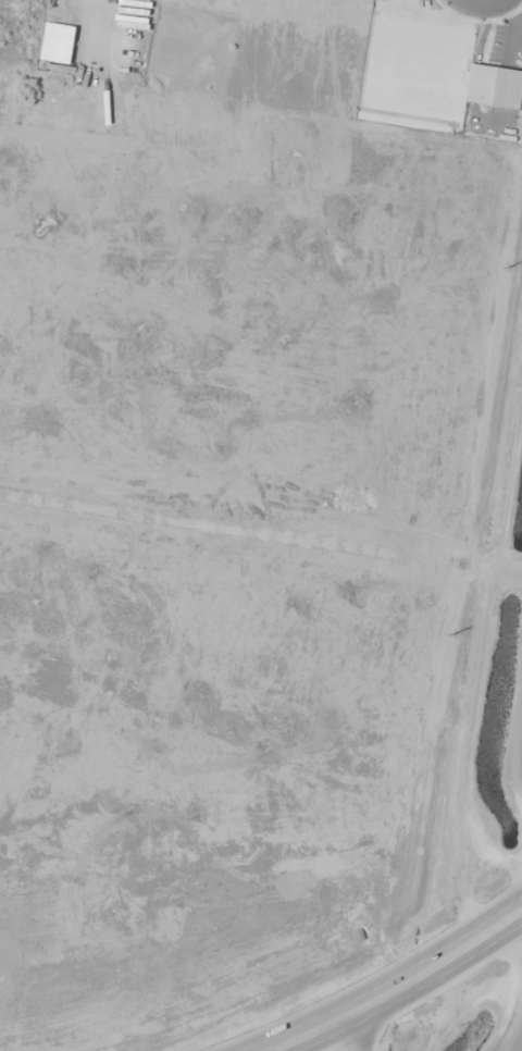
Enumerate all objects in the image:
building: (495, 86)
road: (398, 990)
road: (361, 1030)

